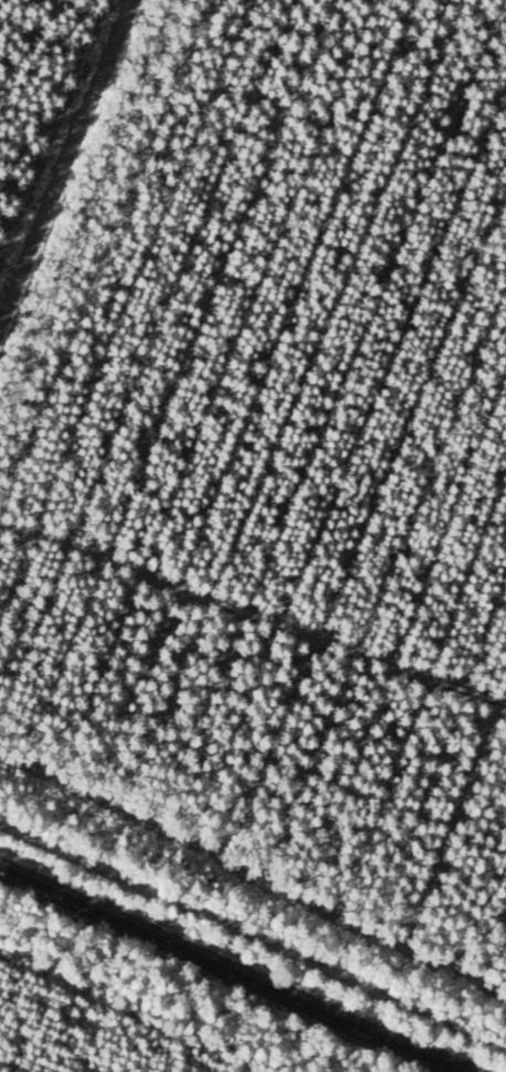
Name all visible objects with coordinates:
railway: (230, 967)

